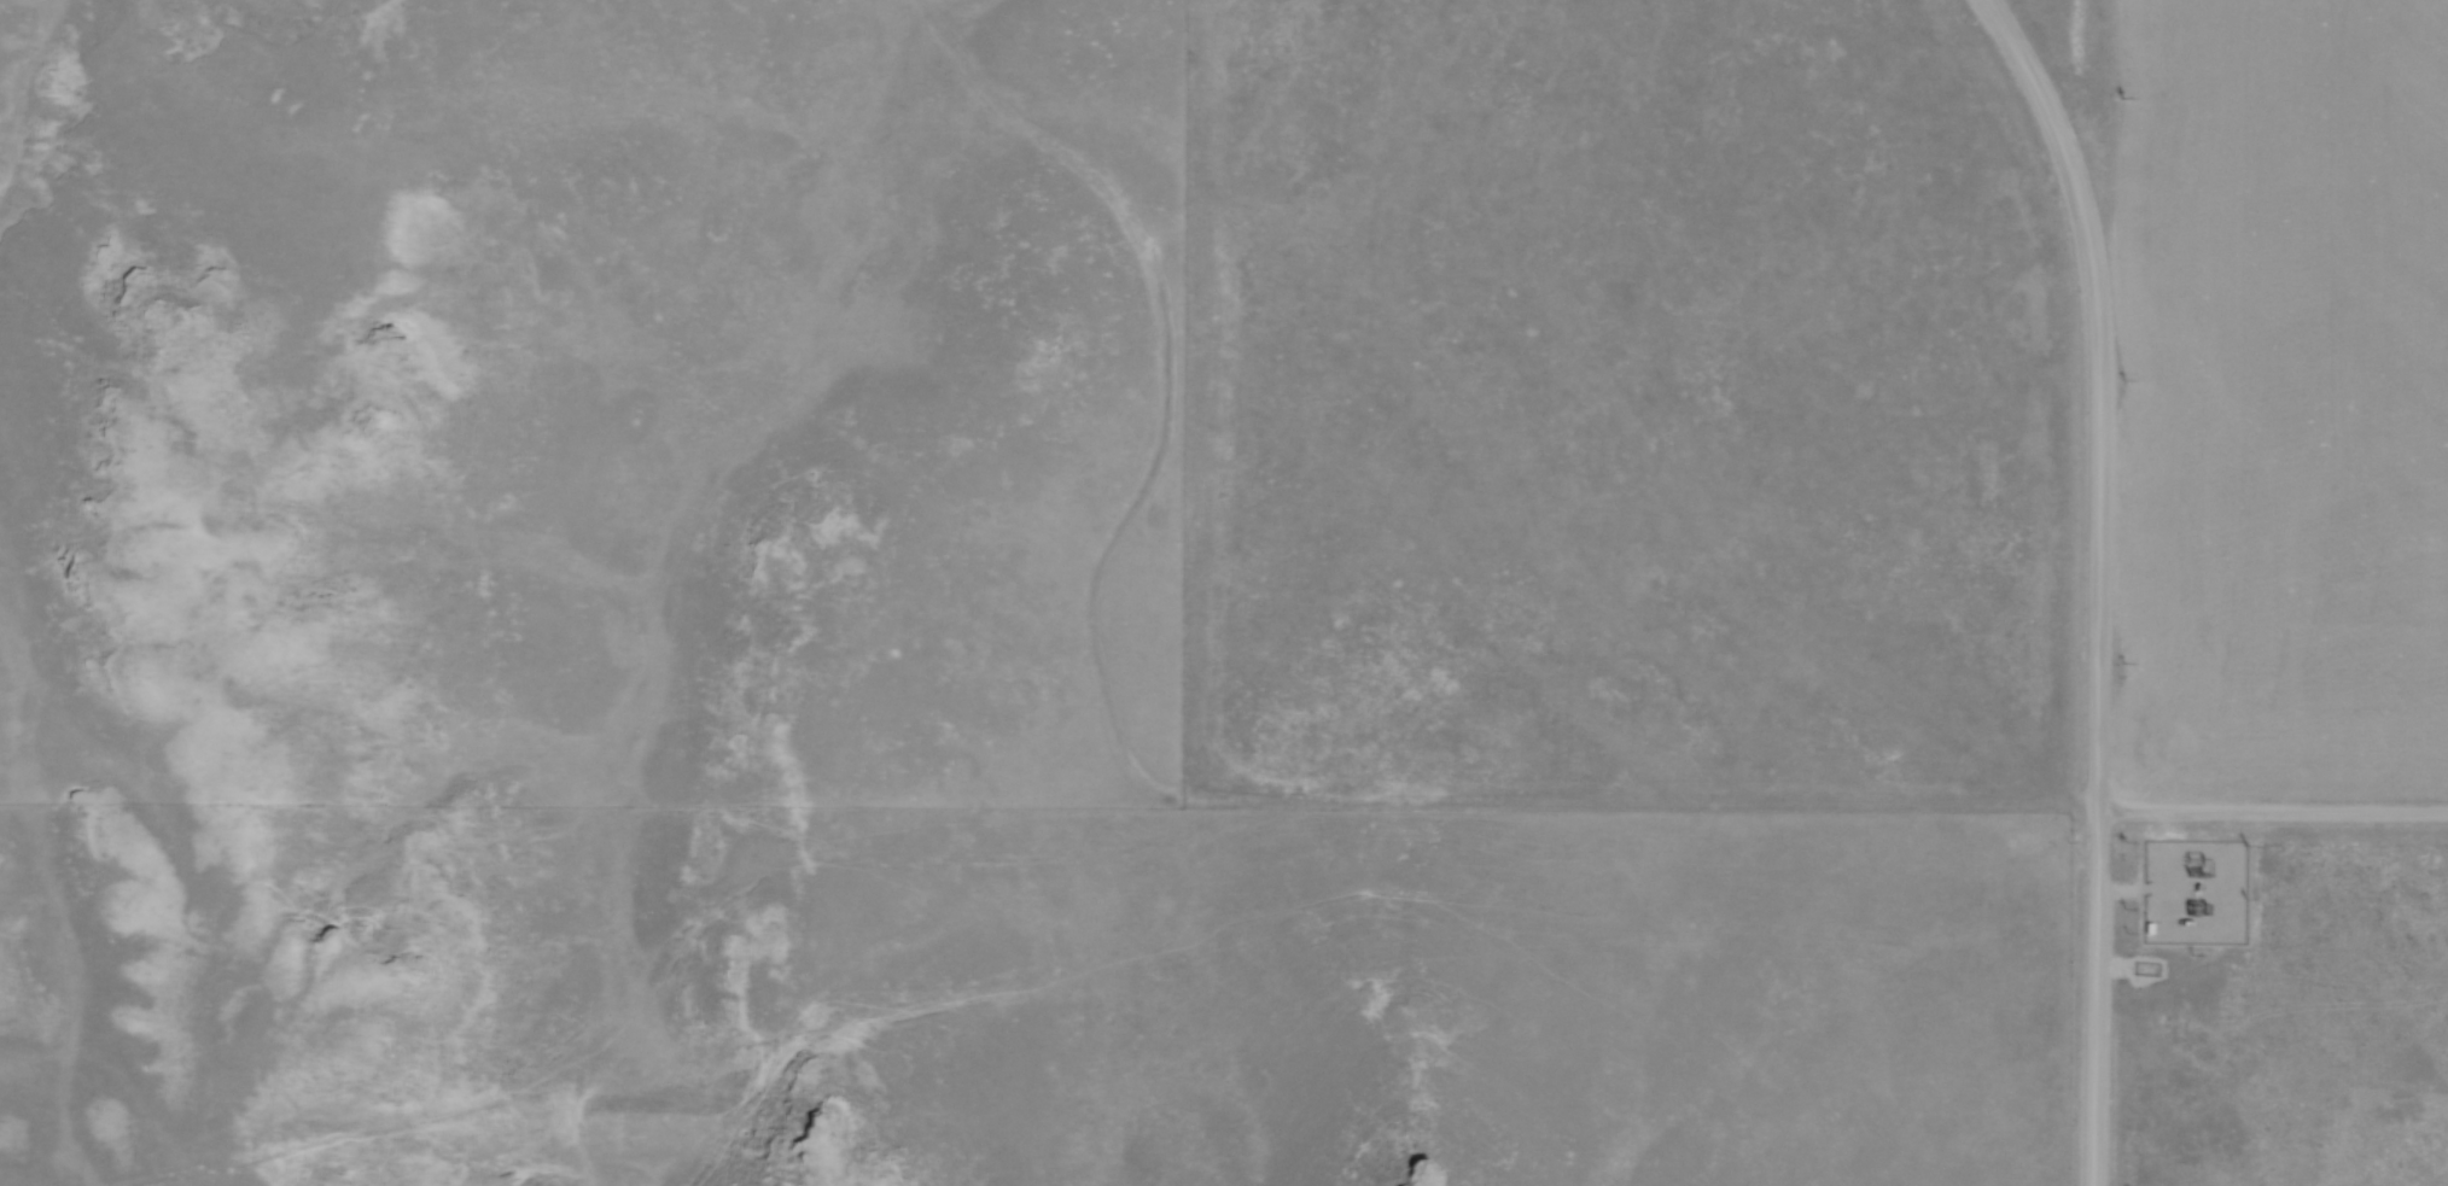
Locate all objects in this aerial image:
crop: (2278, 402)
road: (2091, 580)
road: (2268, 816)
power substation: (2185, 899)

